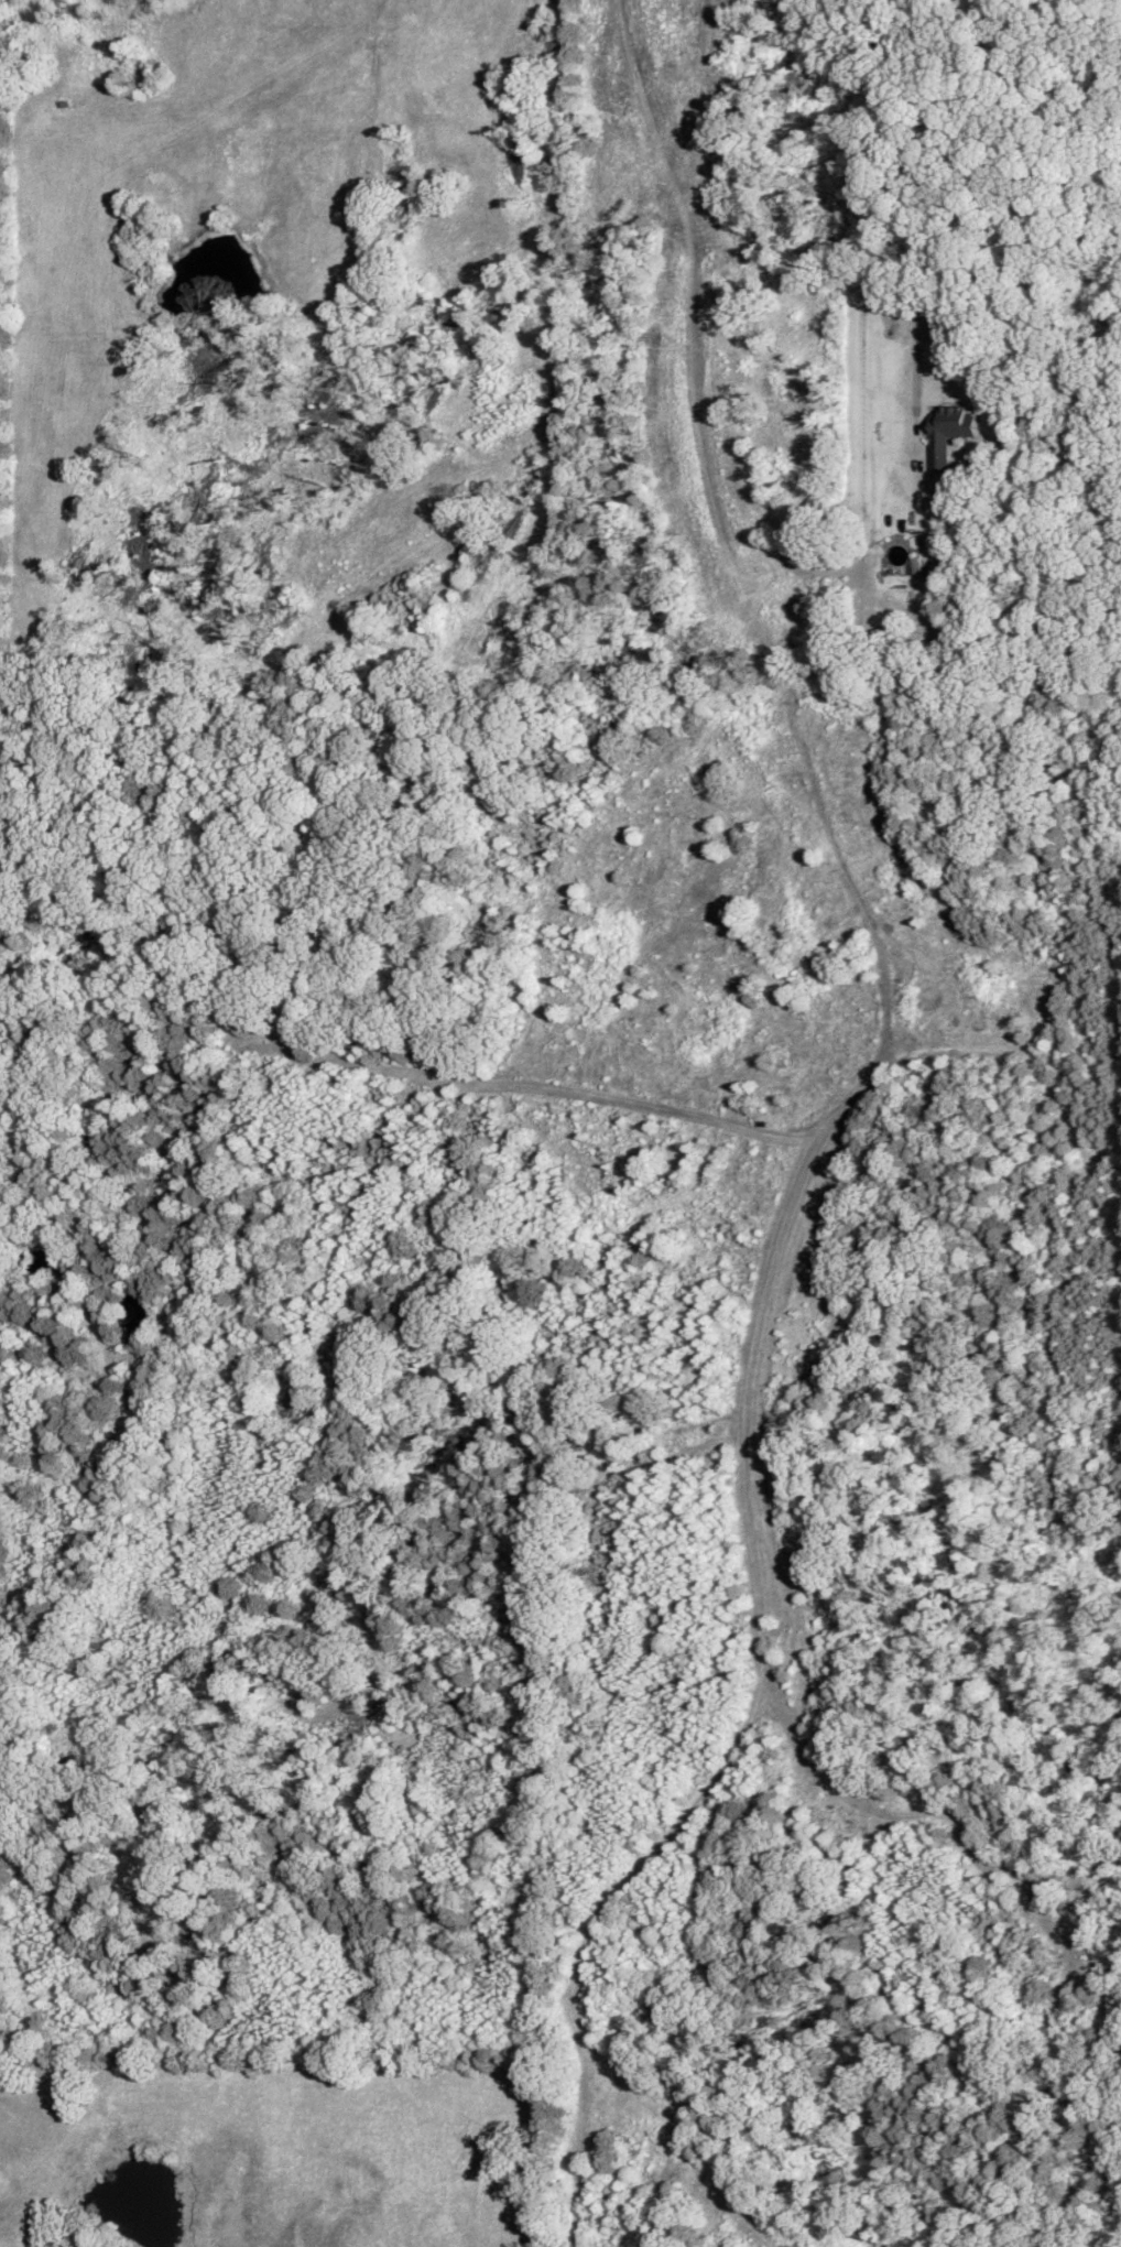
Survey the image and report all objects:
building: (951, 427)

